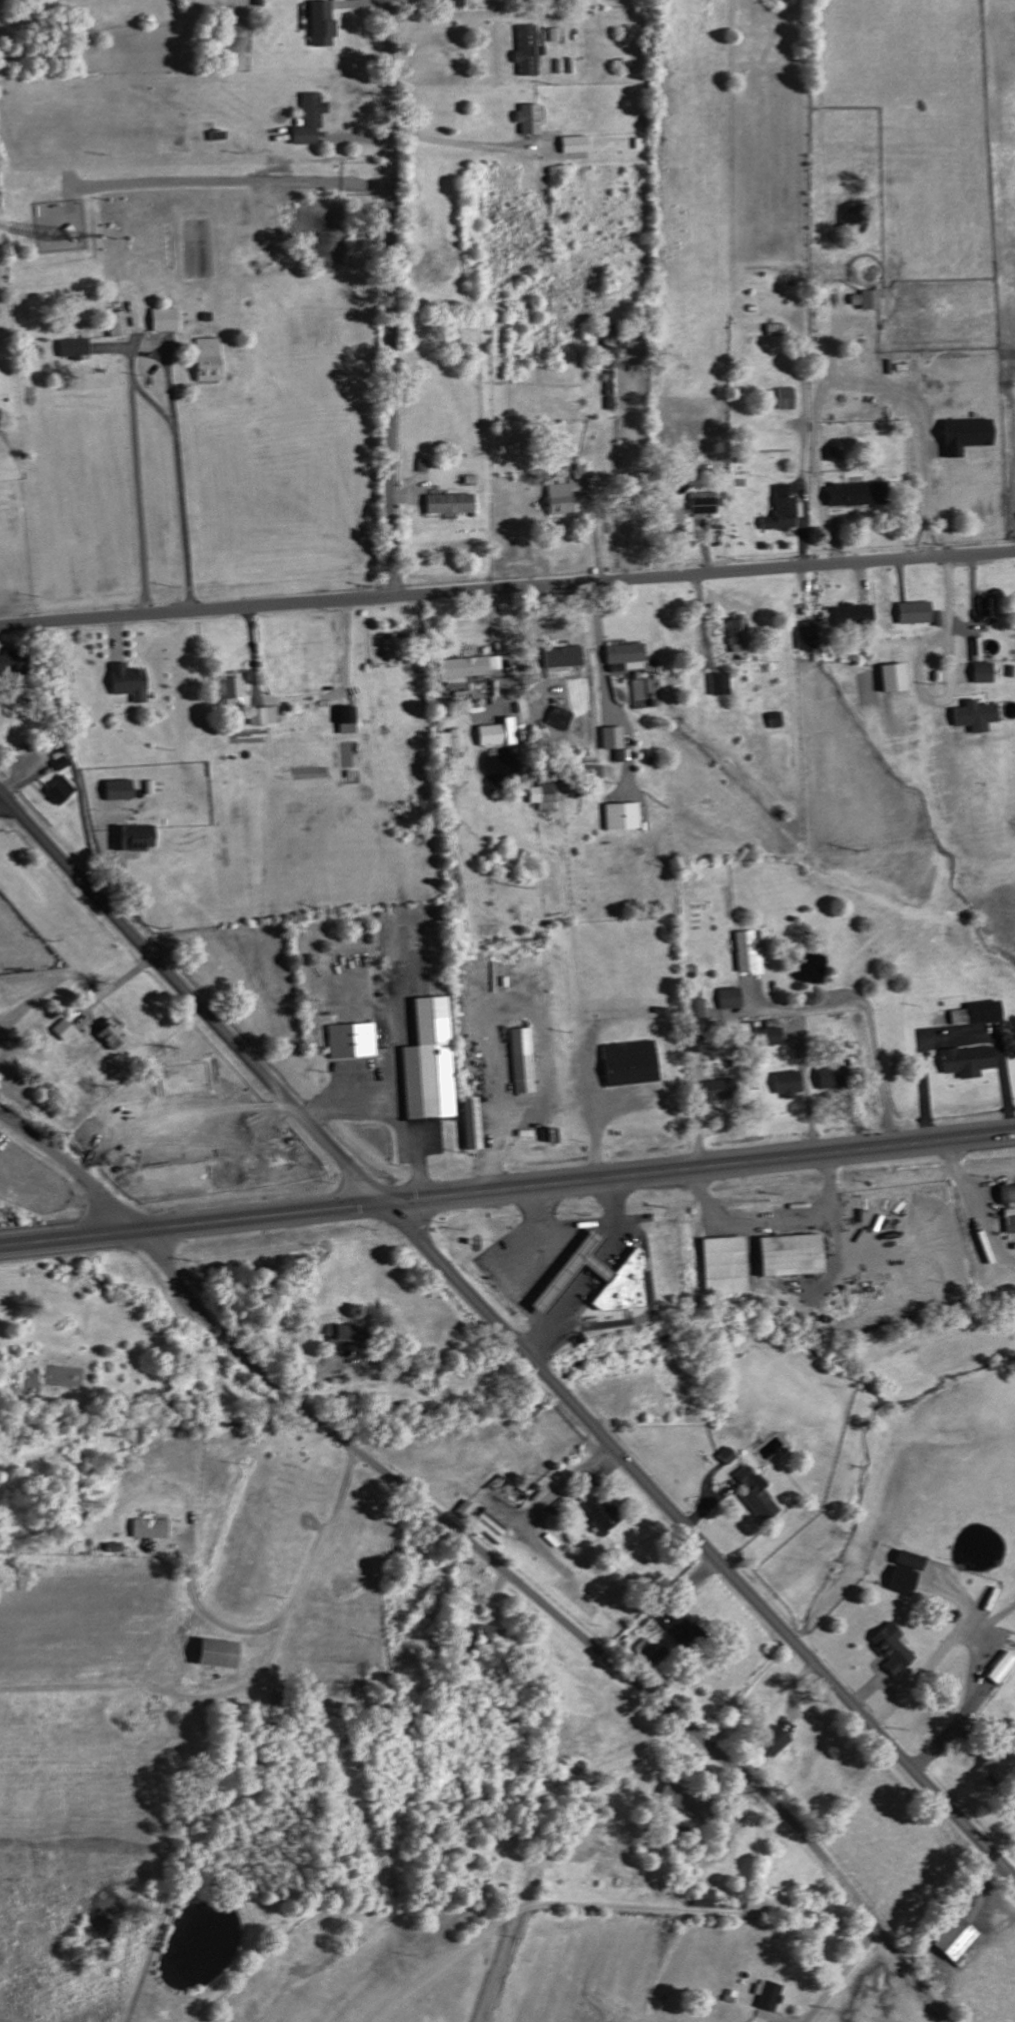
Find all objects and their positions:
building: (320, 23)
building: (555, 34)
building: (527, 50)
building: (527, 117)
building: (307, 119)
road: (471, 144)
building: (574, 144)
building: (167, 247)
road: (392, 297)
building: (866, 299)
building: (162, 319)
building: (116, 323)
building: (774, 327)
building: (605, 341)
building: (72, 347)
building: (205, 359)
road: (826, 409)
building: (963, 435)
road: (181, 467)
building: (568, 489)
road: (135, 493)
building: (852, 494)
road: (923, 498)
building: (702, 502)
building: (449, 503)
building: (780, 514)
road: (507, 588)
building: (986, 610)
building: (912, 612)
building: (851, 615)
building: (737, 634)
building: (806, 635)
building: (390, 649)
building: (625, 656)
building: (563, 661)
building: (8, 664)
building: (467, 666)
building: (981, 672)
building: (891, 677)
road: (950, 680)
building: (127, 682)
building: (719, 684)
building: (230, 690)
road: (303, 698)
building: (266, 715)
building: (974, 716)
building: (345, 719)
building: (559, 719)
building: (496, 733)
building: (611, 737)
building: (450, 747)
building: (618, 755)
building: (118, 789)
building: (59, 790)
building: (542, 794)
building: (621, 816)
building: (134, 837)
building: (744, 951)
road: (195, 993)
building: (728, 998)
building: (694, 1009)
building: (975, 1013)
road: (866, 1015)
building: (62, 1030)
building: (108, 1034)
road: (955, 1034)
building: (769, 1036)
building: (351, 1041)
building: (695, 1047)
building: (521, 1061)
building: (966, 1061)
building: (428, 1062)
building: (628, 1063)
building: (829, 1078)
building: (785, 1084)
building: (714, 1092)
road: (494, 1106)
road: (391, 1118)
building: (469, 1124)
road: (72, 1160)
road: (702, 1169)
building: (1006, 1194)
building: (1009, 1224)
road: (195, 1226)
road: (577, 1227)
building: (789, 1256)
building: (722, 1266)
gas station: (574, 1273)
building: (596, 1279)
road: (517, 1289)
building: (338, 1332)
building: (726, 1455)
road: (552, 1491)
building: (754, 1493)
building: (463, 1508)
building: (599, 1516)
building: (148, 1528)
road: (702, 1539)
road: (302, 1575)
building: (900, 1579)
building: (575, 1597)
road: (559, 1616)
building: (673, 1621)
building: (480, 1633)
building: (889, 1647)
building: (212, 1652)
road: (936, 1654)
building: (1000, 1668)
road: (969, 1707)
building: (773, 1741)
building: (680, 1798)
building: (701, 1897)
road: (598, 1917)
building: (953, 1941)
road: (844, 1975)
road: (491, 1976)
building: (768, 1995)

